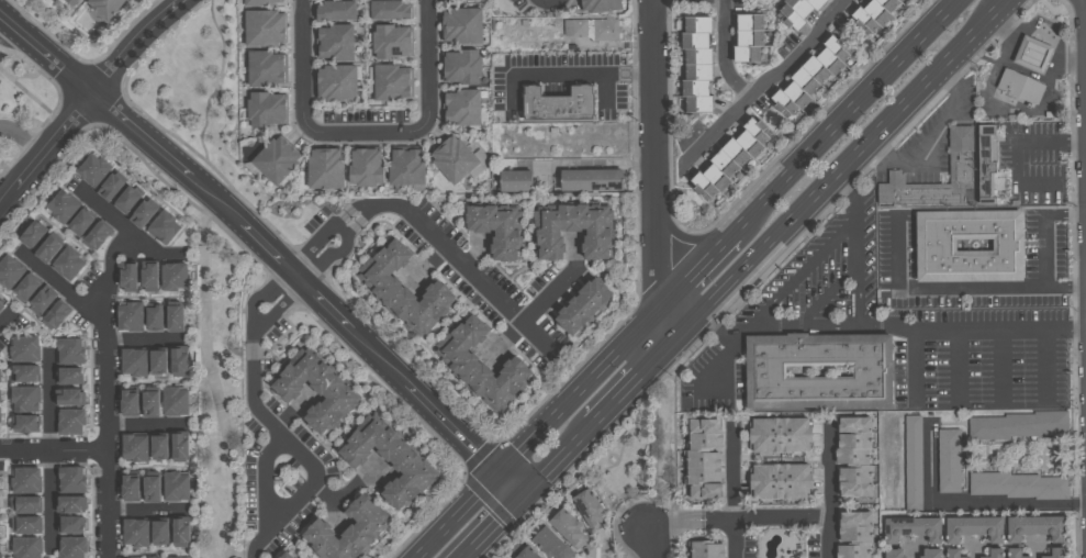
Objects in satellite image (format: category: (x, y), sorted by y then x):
building: (70, 2)
building: (258, 2)
road: (1004, 2)
road: (1006, 2)
road: (1084, 3)
building: (598, 7)
building: (108, 8)
building: (389, 11)
building: (796, 11)
building: (334, 12)
building: (872, 14)
building: (460, 27)
building: (262, 30)
building: (606, 32)
road: (651, 36)
building: (746, 37)
building: (390, 43)
building: (334, 44)
road: (726, 52)
building: (1033, 54)
road: (45, 56)
road: (309, 65)
building: (695, 65)
road: (425, 66)
building: (459, 68)
building: (264, 70)
road: (567, 74)
building: (810, 77)
road: (766, 78)
building: (334, 83)
building: (391, 83)
building: (1021, 87)
road: (34, 94)
road: (88, 98)
park: (23, 105)
building: (557, 105)
building: (460, 109)
building: (265, 111)
road: (850, 113)
road: (367, 131)
road: (23, 138)
road: (1014, 153)
building: (452, 160)
building: (275, 161)
building: (958, 161)
building: (732, 163)
road: (581, 165)
building: (984, 165)
building: (324, 169)
building: (363, 169)
building: (404, 169)
building: (92, 170)
road: (835, 174)
building: (589, 180)
building: (513, 181)
building: (109, 189)
road: (851, 190)
building: (125, 201)
building: (60, 207)
road: (654, 209)
building: (141, 216)
building: (79, 224)
road: (122, 227)
building: (163, 228)
building: (496, 230)
road: (1042, 230)
road: (326, 232)
building: (32, 235)
building: (96, 236)
building: (595, 245)
road: (338, 247)
building: (940, 247)
building: (46, 250)
building: (66, 264)
road: (698, 269)
building: (10, 270)
road: (802, 272)
road: (857, 274)
building: (149, 276)
building: (128, 277)
building: (173, 277)
road: (300, 279)
road: (478, 281)
building: (27, 288)
road: (63, 288)
road: (954, 289)
building: (402, 290)
road: (260, 297)
building: (0, 300)
building: (42, 301)
building: (1, 306)
road: (279, 306)
building: (581, 308)
building: (56, 315)
building: (130, 316)
building: (156, 316)
building: (177, 317)
road: (3, 323)
road: (713, 325)
road: (804, 325)
road: (972, 327)
road: (255, 335)
road: (143, 342)
building: (23, 349)
building: (70, 350)
building: (159, 360)
building: (180, 360)
building: (134, 362)
building: (479, 365)
road: (959, 365)
road: (712, 366)
road: (1001, 366)
road: (1044, 366)
road: (909, 368)
building: (816, 371)
building: (26, 372)
building: (0, 373)
building: (71, 376)
road: (215, 380)
road: (629, 386)
building: (331, 391)
road: (105, 392)
building: (0, 394)
road: (578, 394)
building: (71, 397)
building: (25, 399)
building: (176, 401)
building: (131, 402)
building: (153, 403)
road: (51, 404)
building: (0, 420)
building: (71, 421)
building: (25, 423)
building: (1016, 426)
road: (145, 428)
building: (779, 435)
building: (135, 447)
building: (160, 447)
building: (181, 447)
road: (53, 451)
road: (302, 453)
building: (852, 458)
building: (702, 459)
building: (384, 461)
building: (948, 461)
road: (556, 464)
building: (911, 464)
traffic signals: (499, 477)
road: (262, 478)
building: (26, 480)
building: (72, 480)
building: (780, 482)
building: (176, 486)
building: (1018, 486)
building: (132, 488)
road: (510, 488)
building: (153, 489)
road: (827, 492)
road: (346, 494)
road: (731, 494)
road: (49, 498)
traffic signals: (522, 500)
road: (971, 502)
building: (27, 504)
building: (71, 504)
road: (146, 511)
building: (587, 511)
road: (458, 517)
road: (764, 518)
road: (678, 521)
building: (72, 524)
building: (26, 525)
road: (493, 528)
building: (566, 529)
building: (910, 529)
building: (972, 529)
building: (1032, 529)
building: (161, 532)
building: (181, 532)
building: (345, 532)
building: (135, 533)
building: (853, 535)
road: (654, 539)
building: (549, 545)
building: (71, 547)
building: (25, 548)
building: (705, 550)
road: (911, 551)
building: (1054, 553)
building: (525, 554)
building: (892, 554)
building: (929, 554)
building: (951, 554)
building: (994, 554)
building: (1014, 554)
building: (288, 555)
building: (0, 556)
building: (175, 557)

